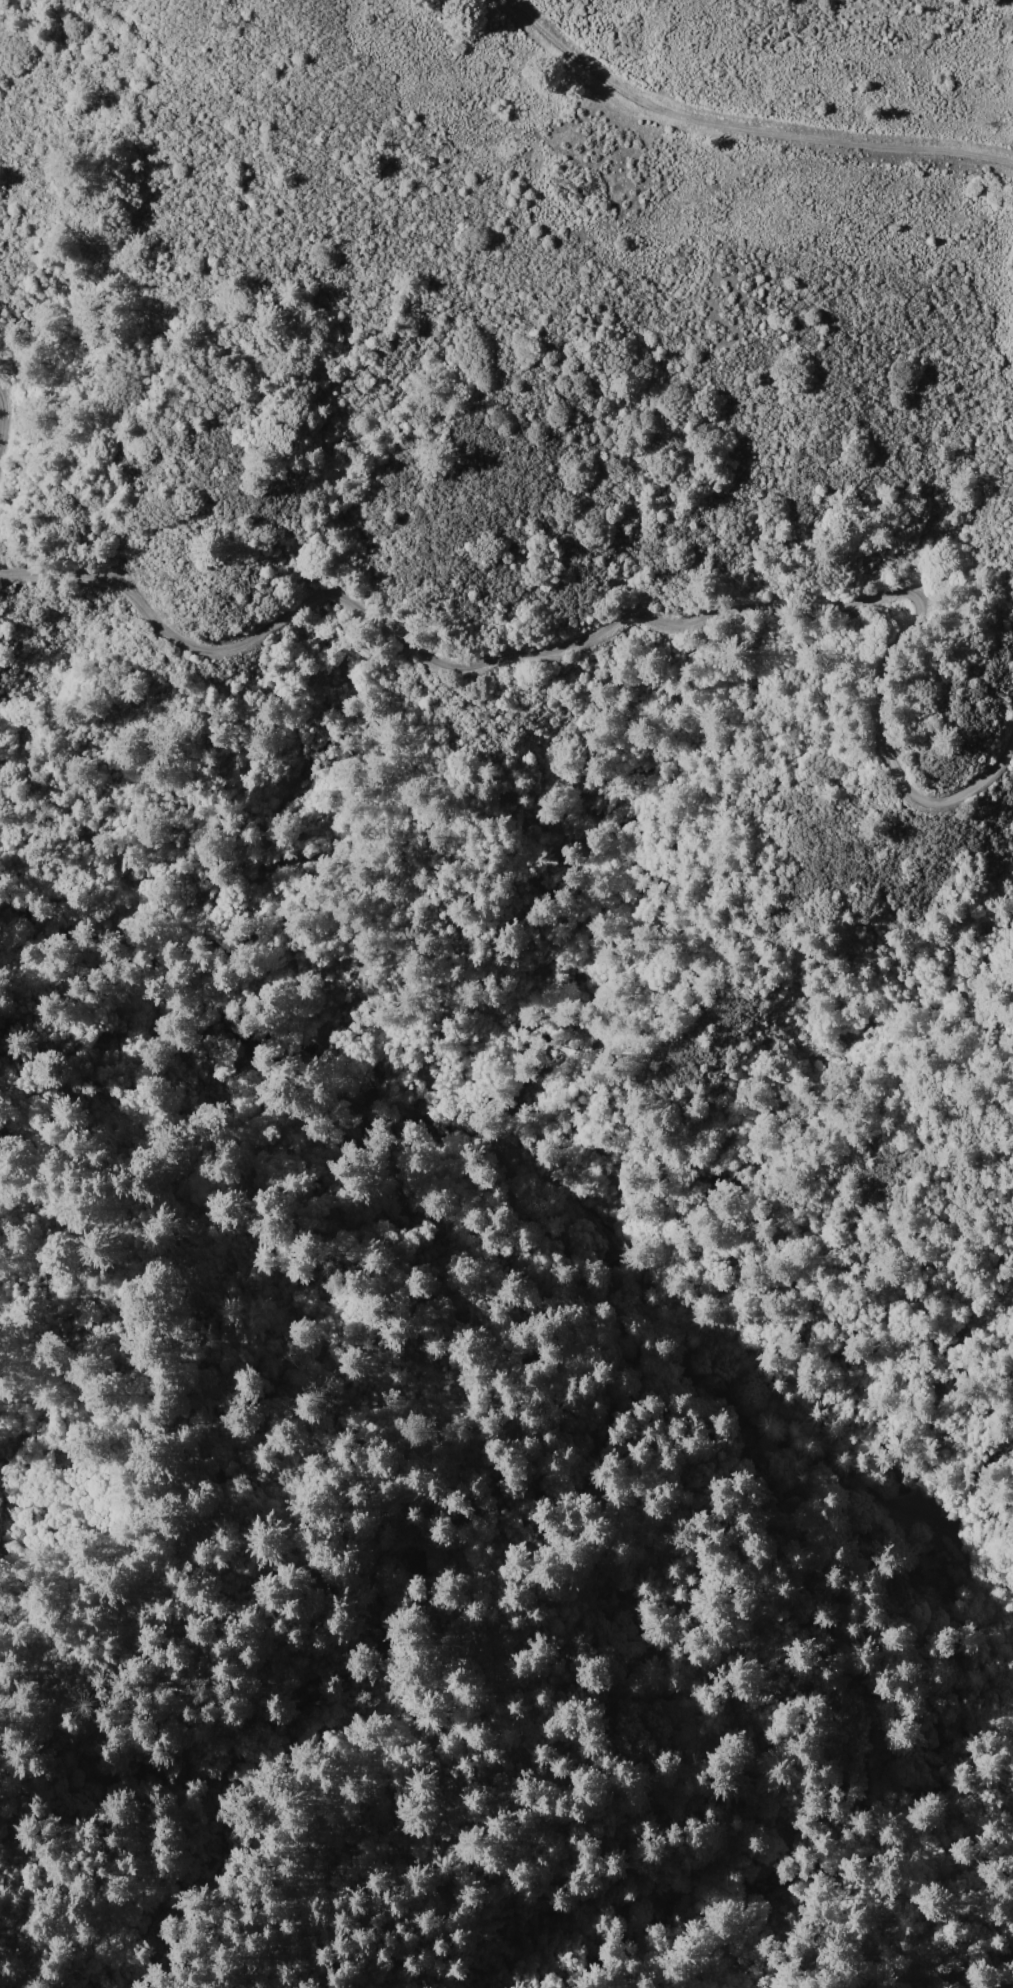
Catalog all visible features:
road: (746, 126)
road: (1, 420)
road: (607, 637)
road: (960, 1542)

